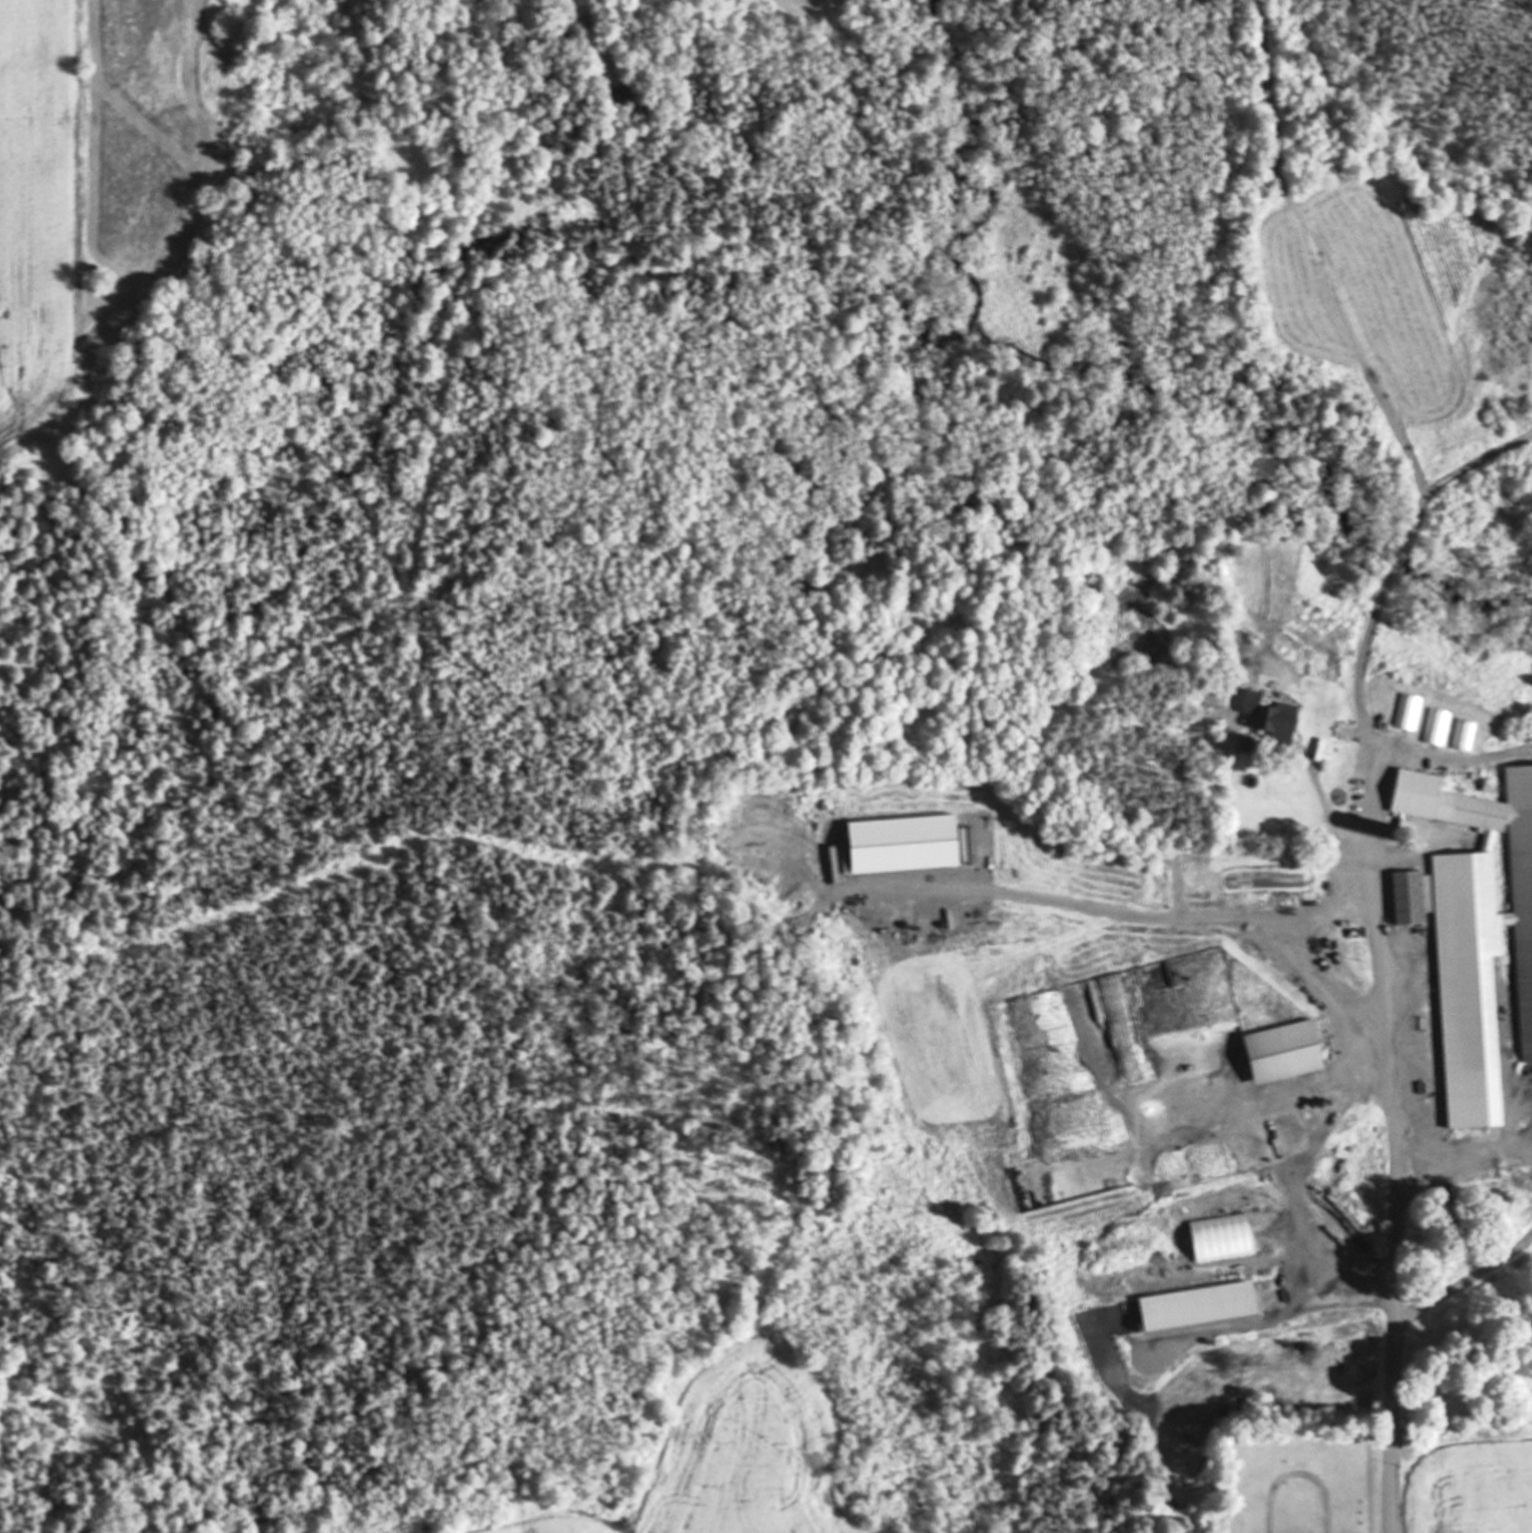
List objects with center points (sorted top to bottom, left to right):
building: (1385, 694)
building: (1277, 720)
building: (1455, 742)
building: (995, 805)
building: (1454, 879)
building: (1413, 899)
building: (1523, 945)
building: (1459, 990)
building: (1284, 1053)
building: (1102, 1150)
road: (1388, 1415)

